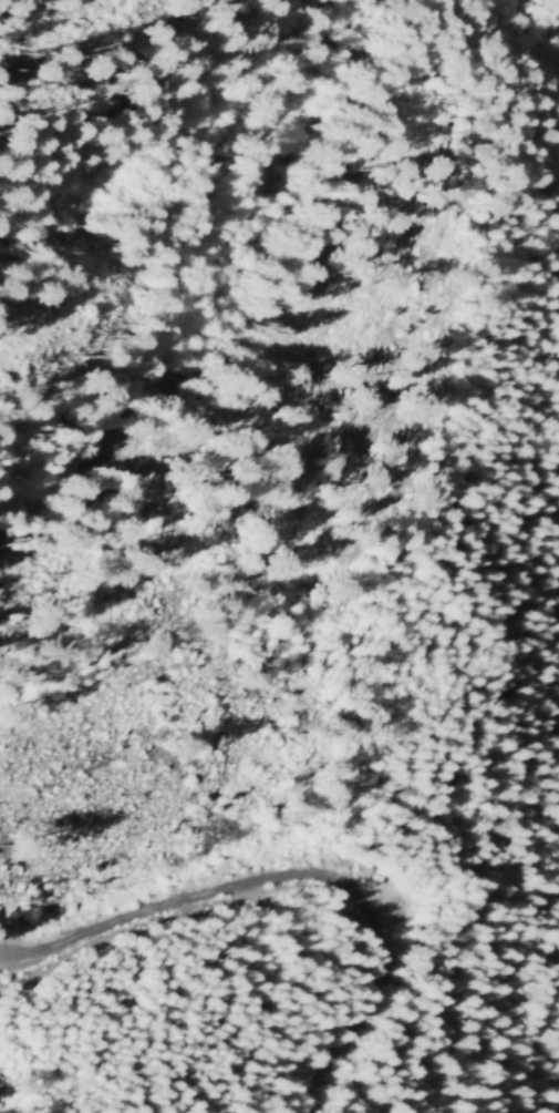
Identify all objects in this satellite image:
road: (299, 878)

